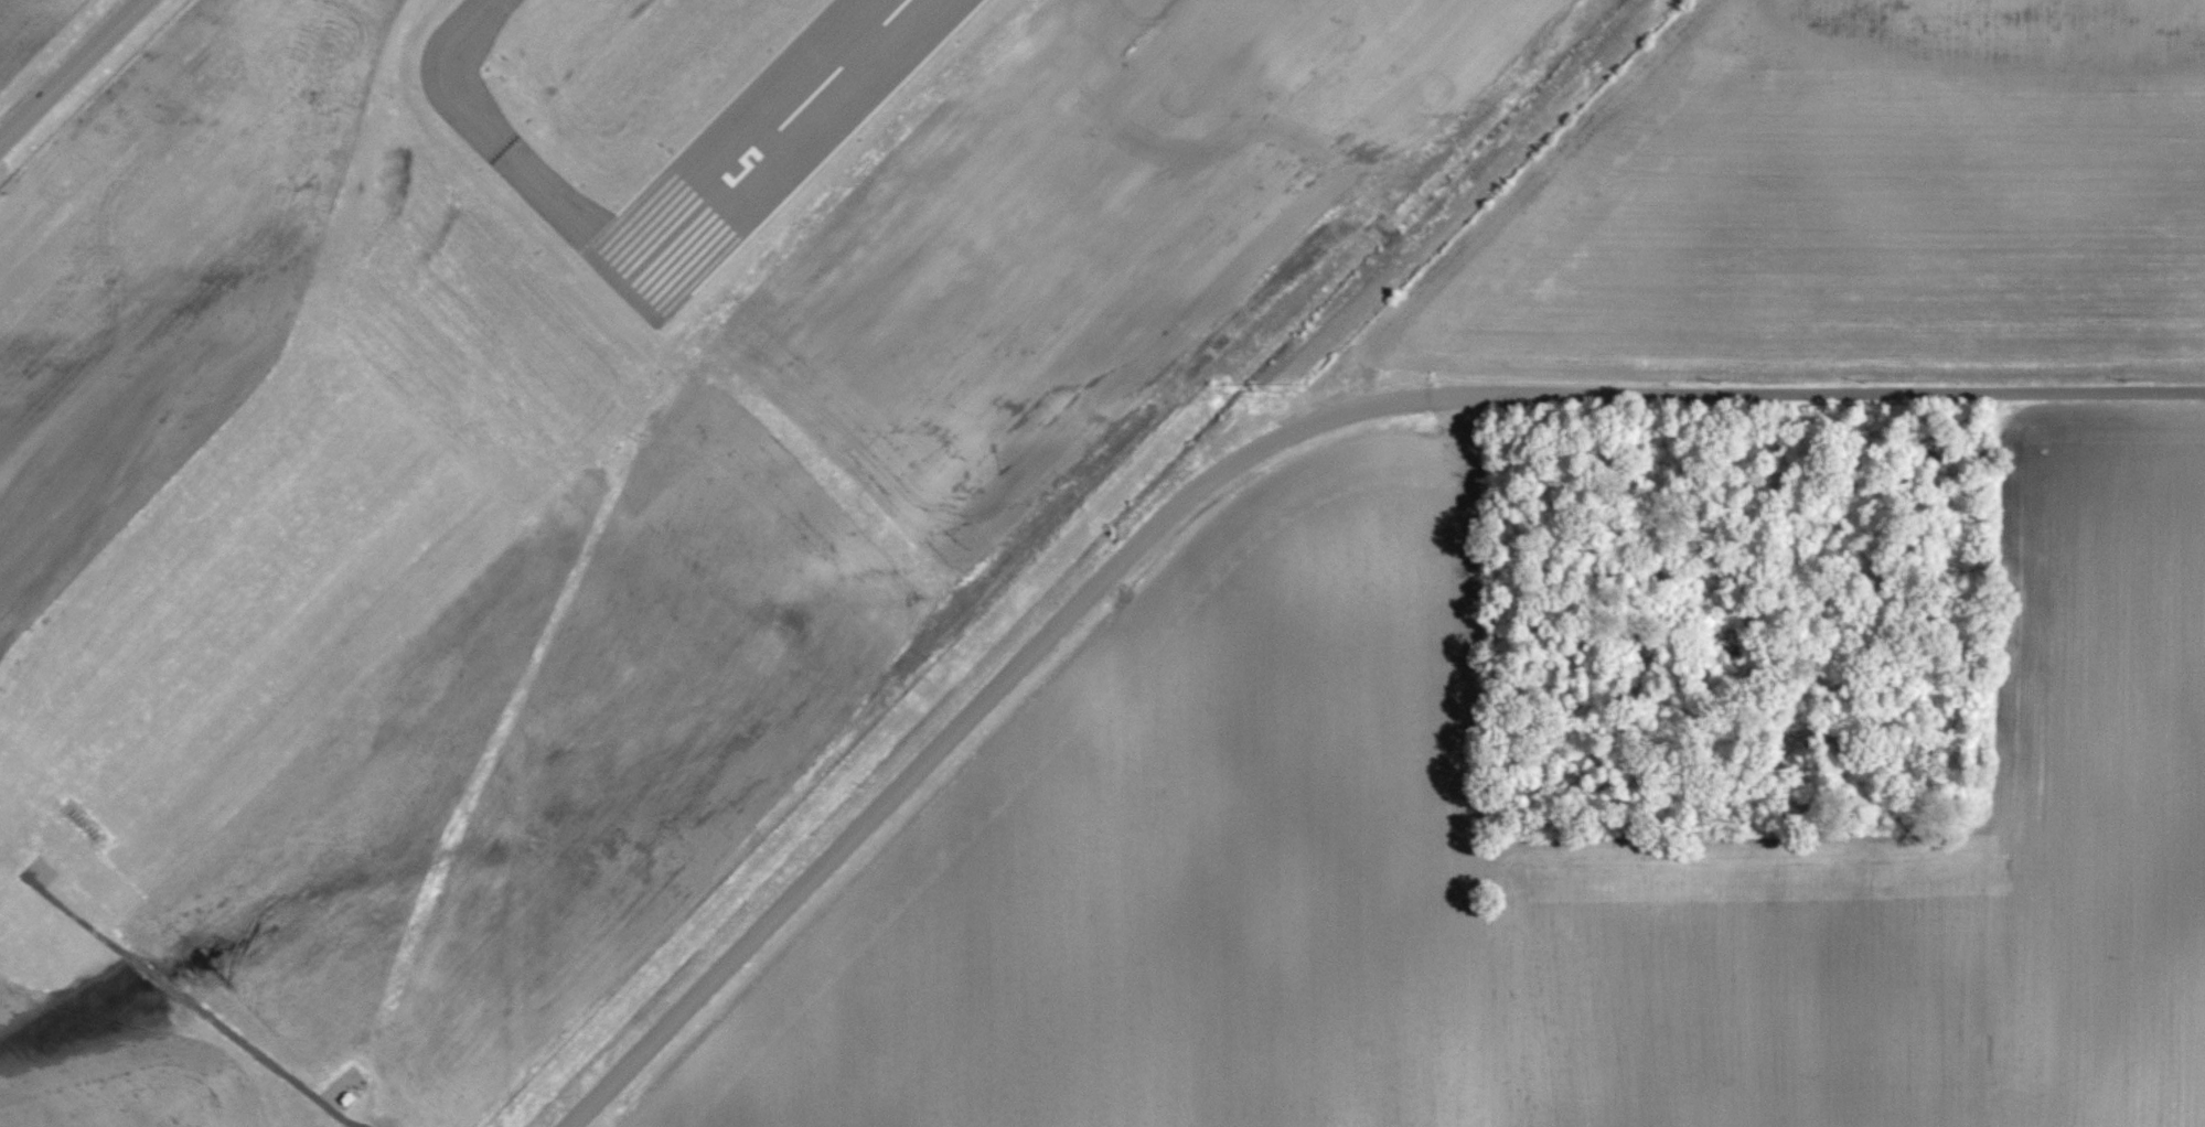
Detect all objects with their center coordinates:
road: (71, 71)
airport runway: (767, 146)
airport taxiway: (504, 148)
road: (1257, 458)
airport: (603, 463)

